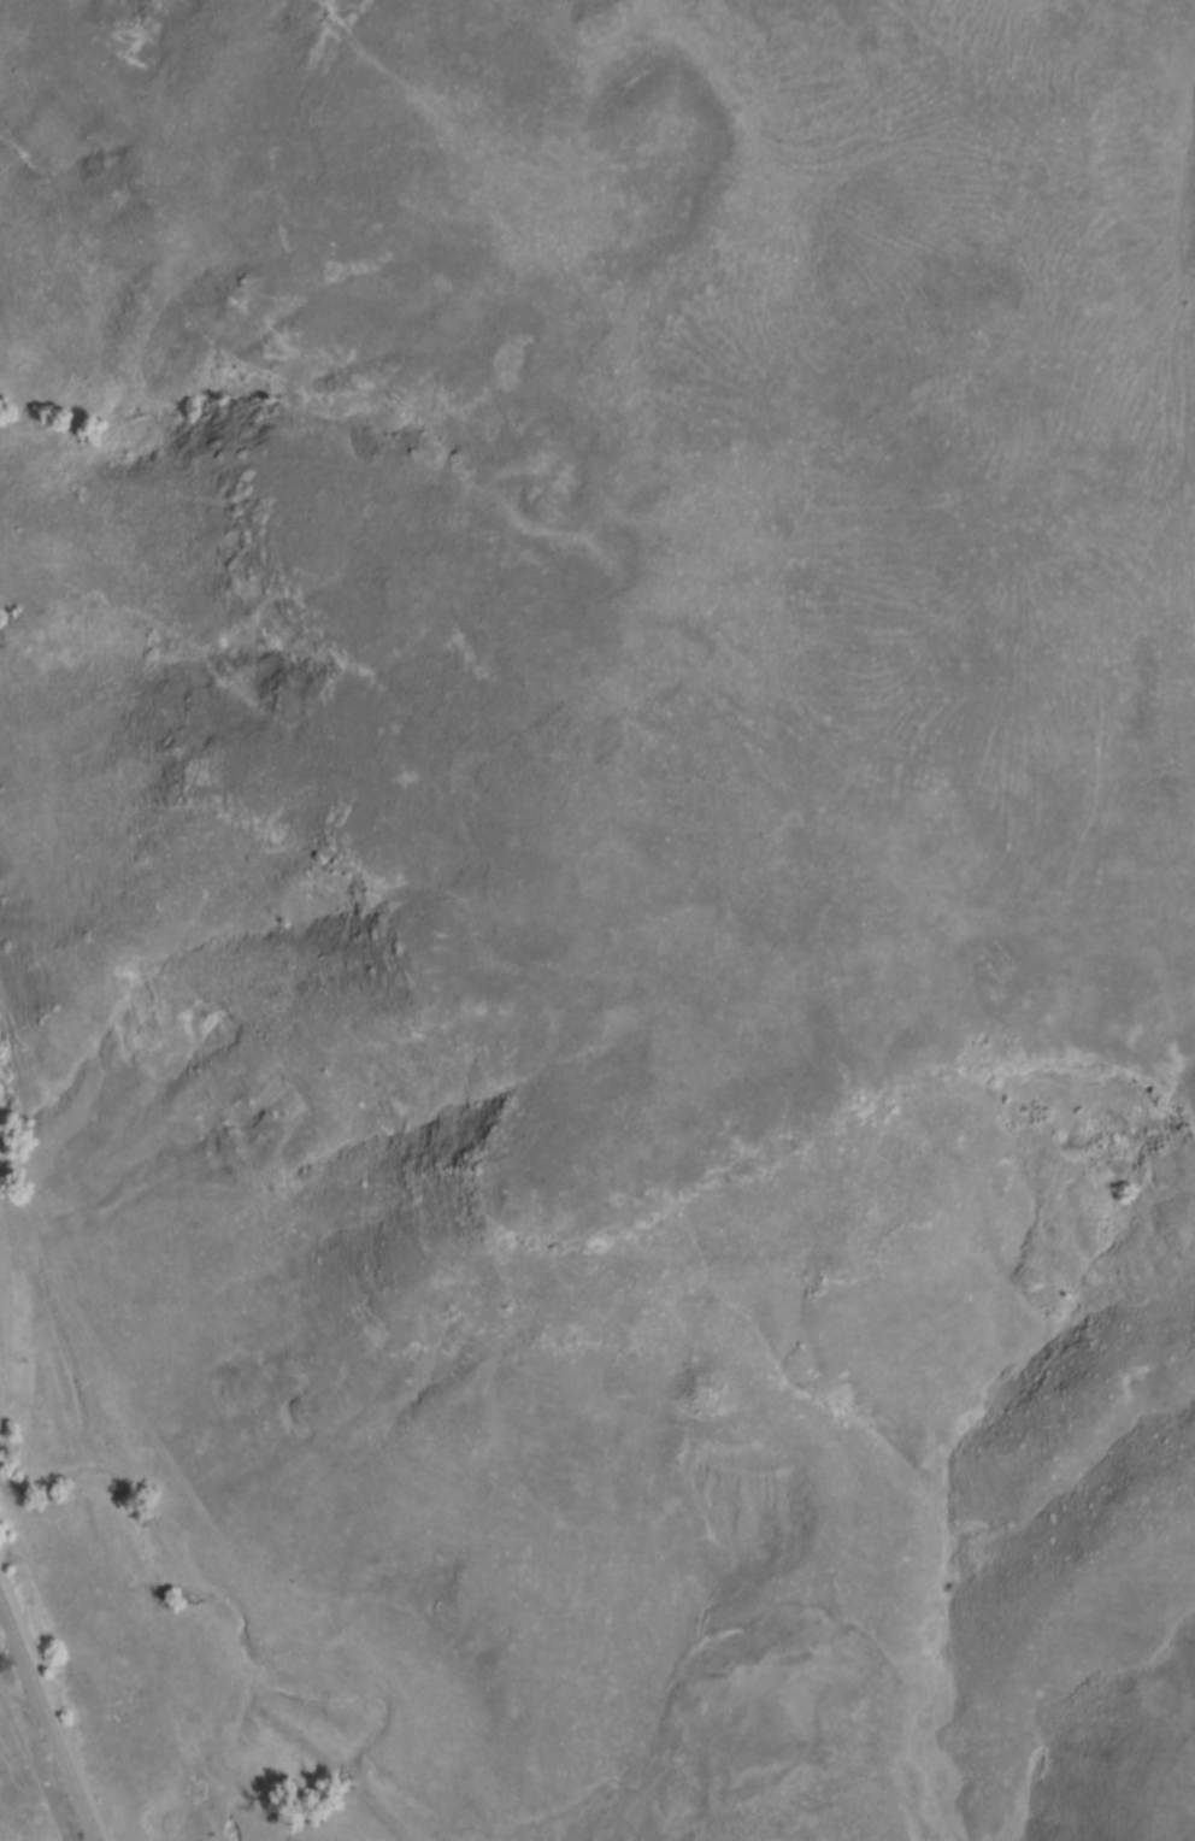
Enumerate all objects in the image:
railway: (49, 1719)

